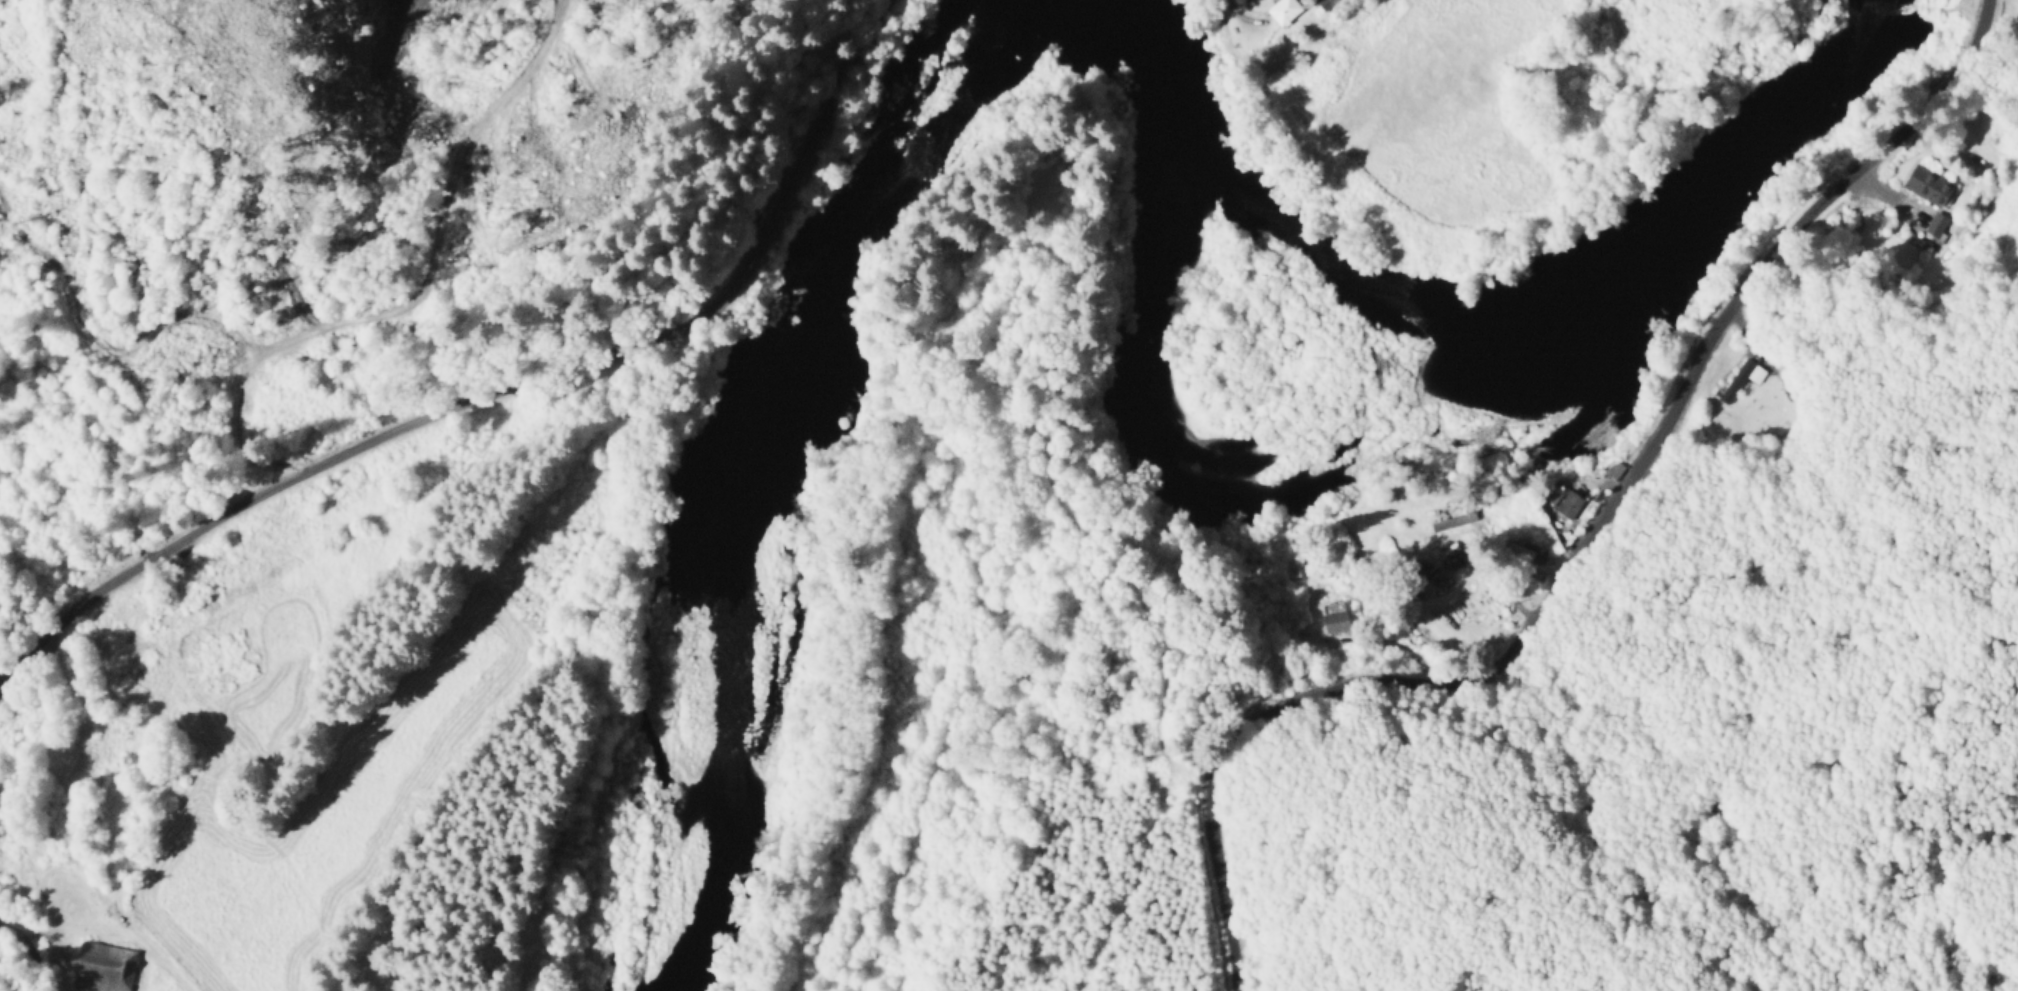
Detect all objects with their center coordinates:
building: (1283, 10)
building: (1927, 183)
building: (1935, 225)
river: (1478, 310)
road: (335, 323)
building: (1742, 377)
road: (502, 389)
river: (762, 452)
building: (1570, 503)
road: (1077, 525)
building: (1455, 525)
road: (1591, 546)
building: (1335, 614)
road: (73, 826)
road: (82, 928)
road: (34, 948)
building: (98, 966)

